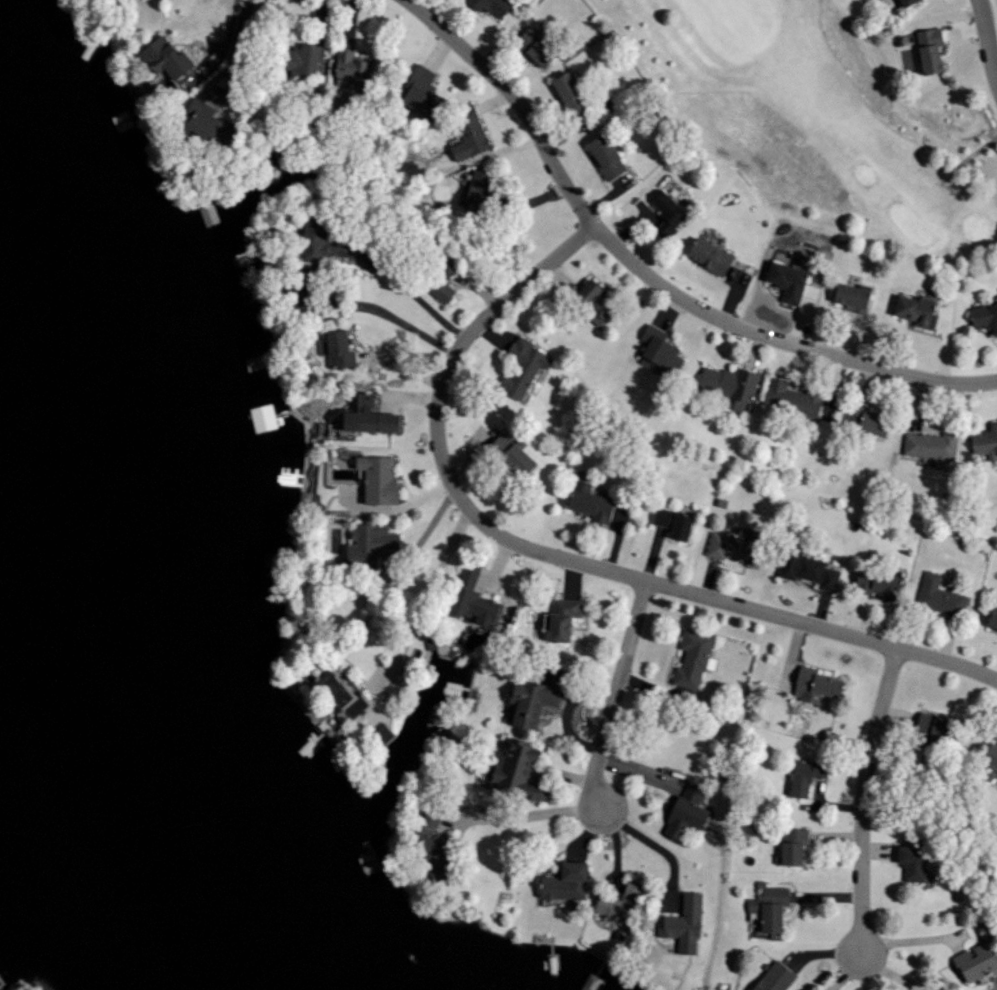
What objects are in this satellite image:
building: (900, 2)
building: (909, 2)
building: (496, 5)
road: (988, 40)
road: (236, 45)
road: (222, 47)
building: (538, 47)
building: (931, 52)
building: (157, 57)
building: (296, 58)
building: (342, 67)
building: (412, 86)
building: (571, 94)
building: (188, 119)
park: (833, 126)
building: (464, 132)
building: (607, 157)
road: (970, 158)
building: (474, 189)
building: (669, 216)
building: (711, 257)
road: (648, 275)
building: (789, 280)
building: (436, 281)
road: (411, 293)
building: (854, 298)
building: (586, 300)
building: (919, 312)
building: (985, 316)
road: (404, 323)
building: (334, 349)
building: (655, 350)
building: (518, 367)
building: (726, 384)
building: (786, 398)
building: (258, 417)
building: (360, 417)
building: (861, 420)
building: (983, 443)
building: (926, 446)
building: (505, 454)
building: (373, 478)
building: (585, 503)
building: (671, 522)
building: (365, 539)
road: (556, 556)
building: (805, 568)
building: (877, 583)
building: (940, 597)
building: (473, 598)
building: (563, 617)
building: (992, 618)
road: (422, 639)
building: (693, 658)
building: (816, 684)
building: (344, 693)
road: (616, 693)
building: (531, 701)
building: (936, 727)
building: (383, 732)
building: (989, 764)
building: (519, 769)
building: (806, 775)
road: (864, 799)
building: (687, 811)
road: (531, 812)
road: (653, 843)
building: (432, 845)
building: (789, 846)
building: (912, 861)
building: (566, 881)
building: (619, 903)
building: (684, 920)
road: (913, 939)
building: (976, 961)
building: (775, 977)

